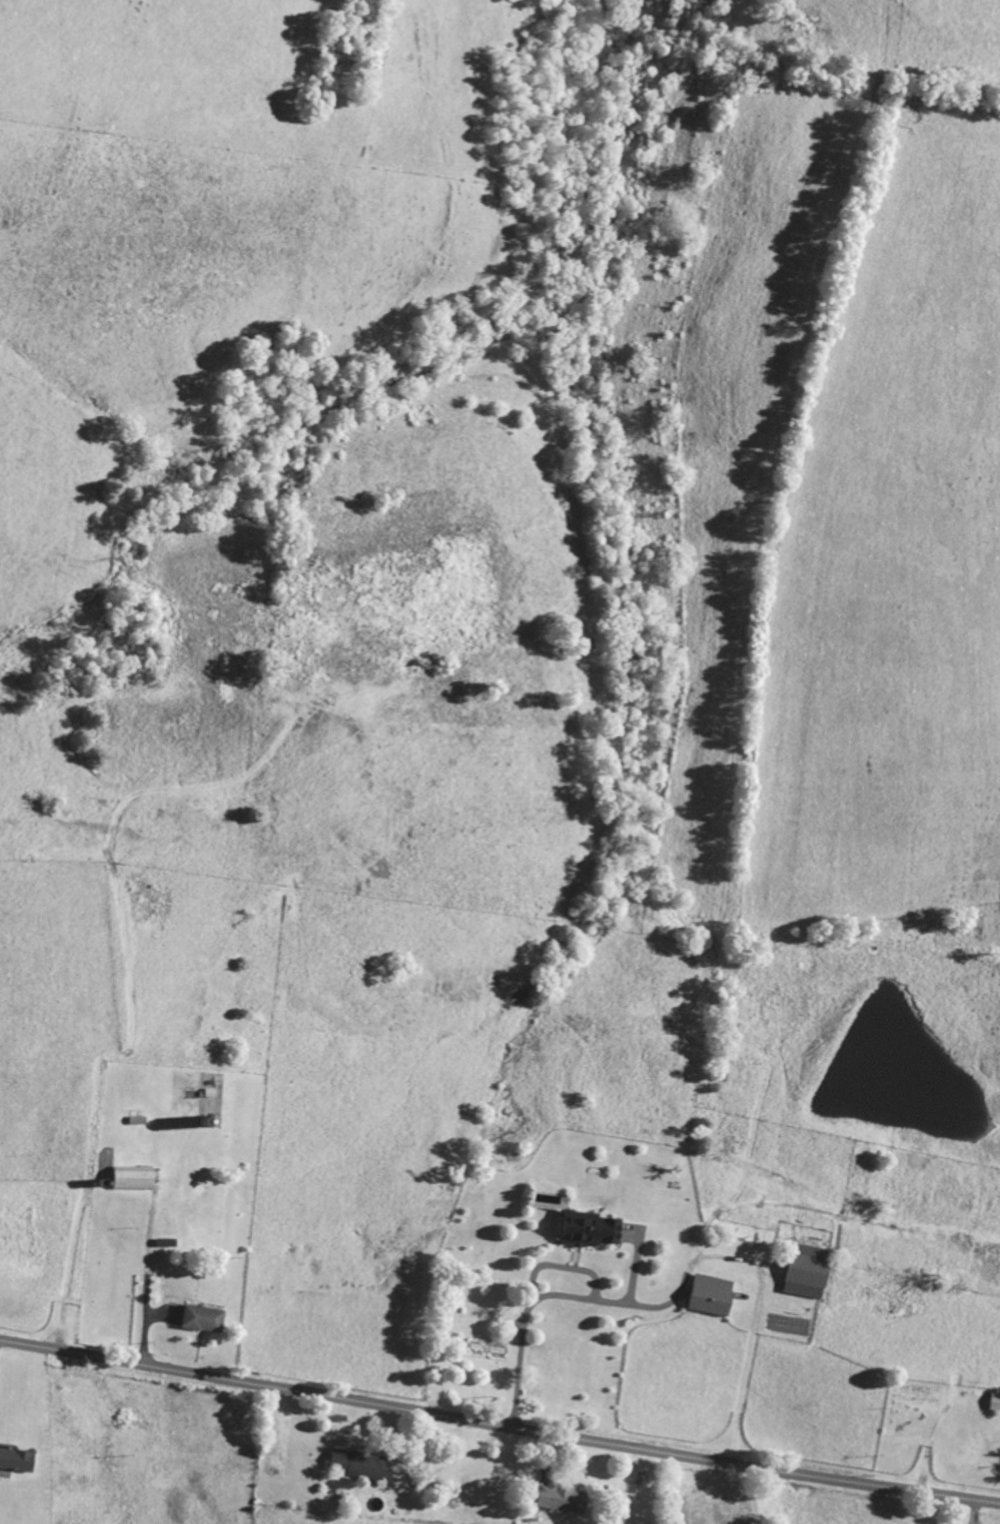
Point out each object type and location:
building: (136, 1178)
building: (593, 1230)
road: (563, 1267)
road: (636, 1269)
building: (811, 1271)
road: (147, 1279)
building: (714, 1295)
road: (553, 1296)
building: (205, 1319)
building: (995, 1401)
road: (499, 1424)
building: (18, 1460)
building: (359, 1464)
building: (564, 1499)

